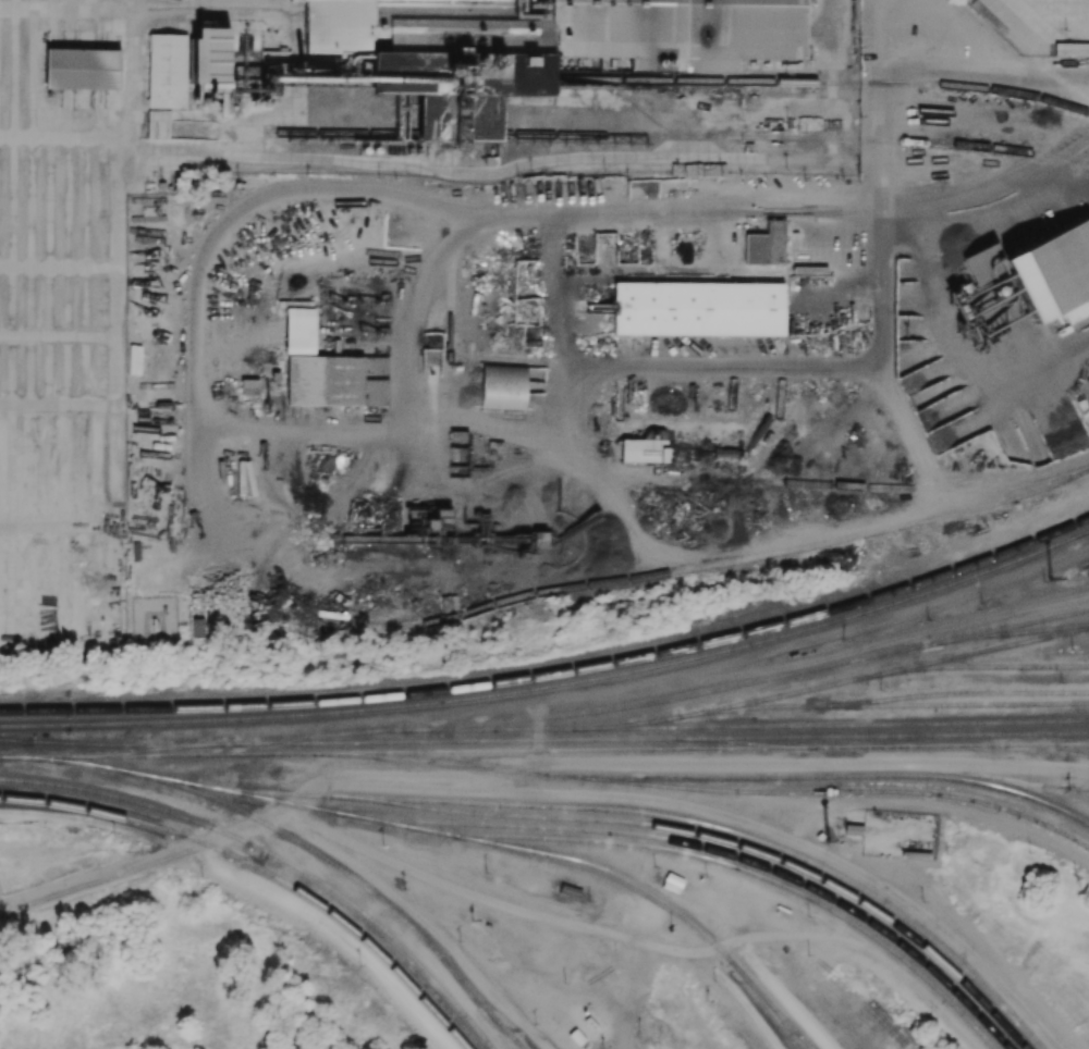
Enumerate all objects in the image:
road: (832, 24)
railway: (1029, 51)
railway: (685, 81)
railway: (650, 137)
road: (991, 190)
railway: (799, 271)
road: (450, 412)
railway: (774, 415)
railway: (1088, 530)
railway: (746, 561)
railway: (711, 566)
railway: (827, 617)
railway: (991, 631)
railway: (1008, 633)
railway: (1033, 640)
railway: (991, 653)
railway: (929, 664)
railway: (554, 674)
railway: (883, 674)
railway: (554, 684)
railway: (953, 704)
railway: (750, 708)
railway: (571, 714)
railway: (840, 725)
railway: (587, 740)
railway: (61, 743)
railway: (748, 743)
railway: (1047, 745)
railway: (103, 746)
railway: (1075, 746)
railway: (552, 751)
railway: (8, 758)
railway: (405, 760)
road: (529, 764)
railway: (795, 778)
railway: (851, 791)
railway: (623, 812)
railway: (640, 835)
railway: (724, 842)
railway: (301, 844)
railway: (278, 856)
railway: (698, 857)
railway: (262, 869)
railway: (643, 889)
road: (636, 942)
railway: (773, 1004)
railway: (480, 1009)
railway: (518, 1044)

